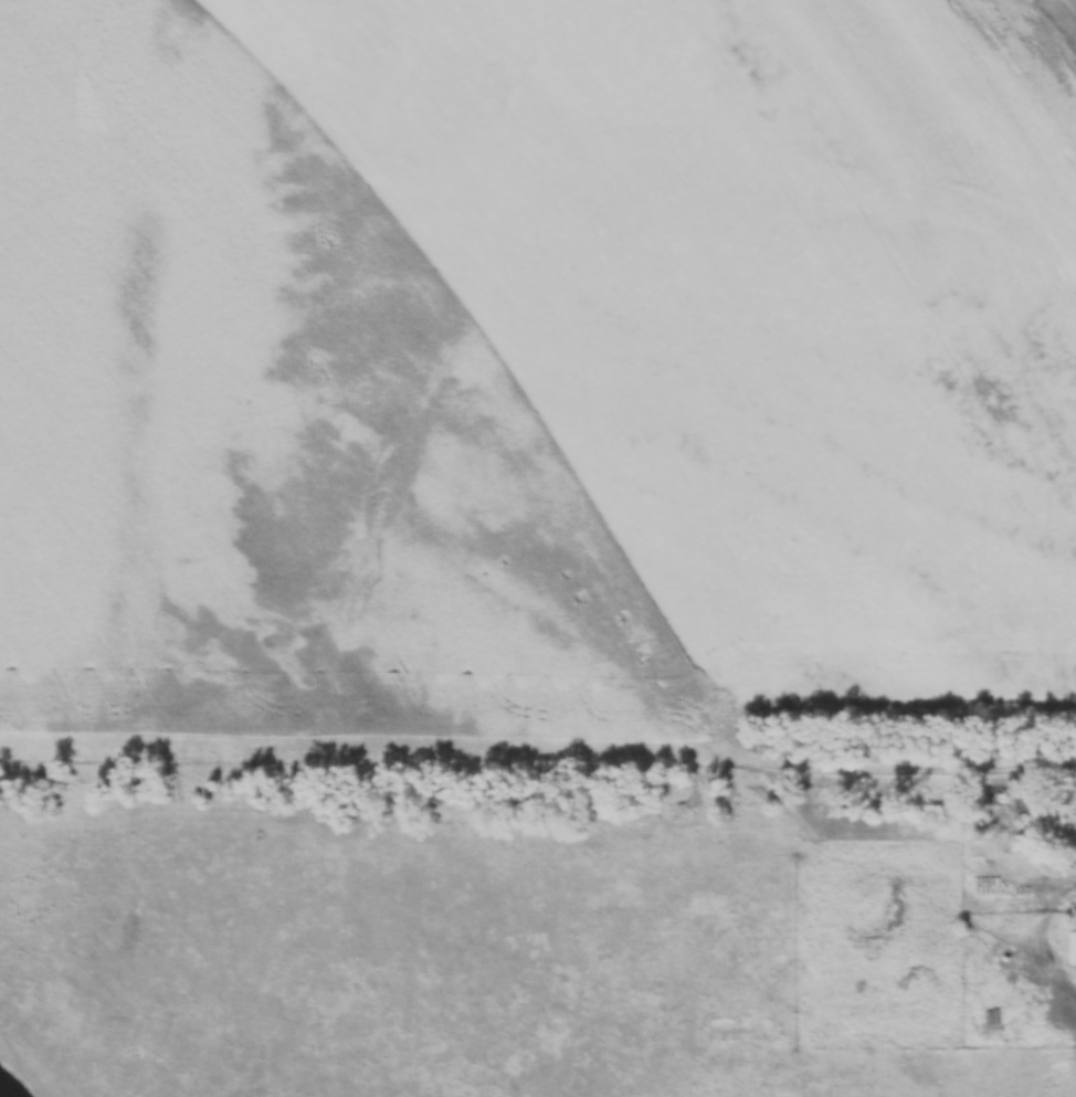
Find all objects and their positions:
building: (1072, 949)

